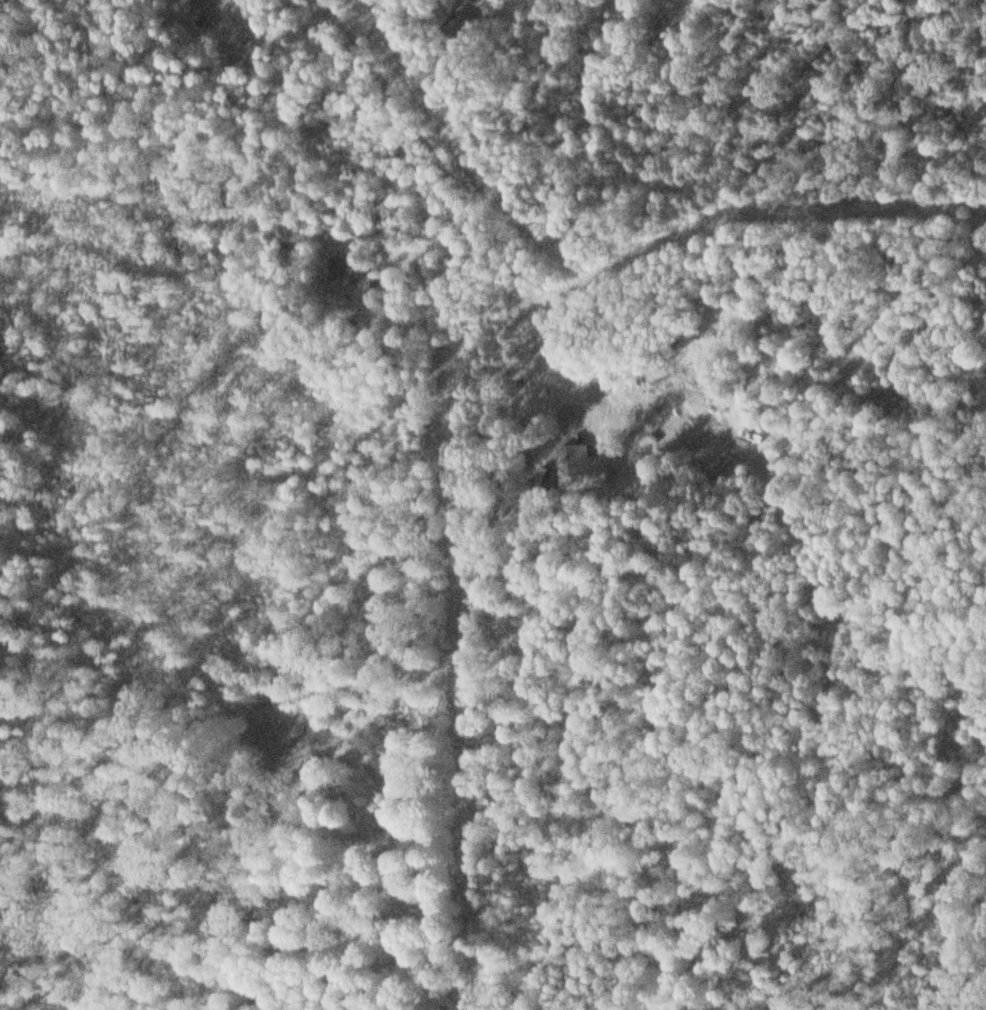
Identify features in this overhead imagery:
building: (203, 13)
road: (979, 52)
building: (345, 268)

